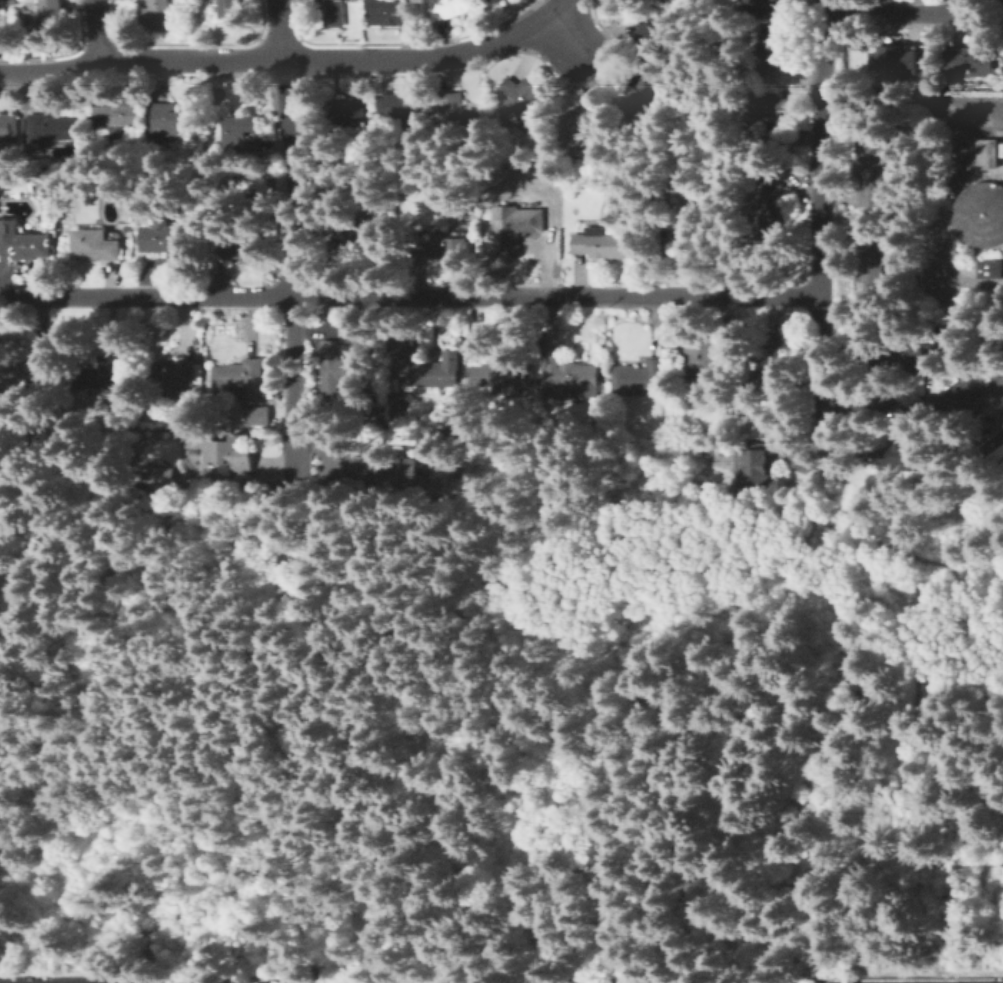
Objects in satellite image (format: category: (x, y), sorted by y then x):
building: (655, 0)
building: (660, 0)
building: (493, 1)
building: (12, 2)
building: (757, 8)
building: (232, 9)
building: (446, 9)
building: (331, 13)
building: (390, 13)
building: (155, 15)
road: (905, 15)
building: (52, 16)
road: (99, 29)
road: (283, 29)
road: (564, 33)
building: (649, 40)
building: (773, 55)
road: (433, 56)
road: (142, 58)
building: (894, 60)
building: (967, 64)
building: (641, 98)
building: (522, 101)
building: (400, 106)
building: (345, 111)
road: (289, 114)
building: (457, 116)
building: (118, 117)
building: (90, 120)
building: (177, 120)
road: (970, 120)
building: (773, 122)
building: (584, 127)
building: (9, 128)
building: (53, 128)
building: (485, 128)
building: (241, 136)
building: (977, 153)
storage tank: (977, 153)
building: (873, 171)
building: (776, 206)
building: (980, 213)
building: (514, 228)
building: (695, 228)
road: (822, 234)
building: (364, 238)
building: (167, 240)
building: (23, 242)
building: (602, 243)
building: (95, 246)
building: (437, 246)
building: (242, 249)
building: (872, 268)
building: (991, 269)
road: (410, 294)
road: (297, 331)
building: (998, 339)
building: (779, 344)
building: (476, 347)
building: (706, 353)
building: (920, 355)
building: (347, 363)
building: (425, 370)
building: (101, 375)
building: (174, 376)
building: (30, 377)
building: (502, 377)
building: (568, 377)
building: (641, 377)
building: (243, 379)
building: (770, 386)
building: (671, 390)
building: (187, 391)
road: (891, 398)
building: (825, 402)
building: (399, 410)
building: (260, 417)
building: (376, 417)
building: (715, 449)
building: (228, 451)
building: (993, 452)
building: (908, 457)
building: (753, 468)
building: (391, 469)
building: (166, 479)
building: (543, 489)
road: (814, 517)
road: (605, 574)
road: (980, 591)
road: (395, 666)
road: (652, 669)
road: (320, 671)
road: (830, 707)
road: (733, 715)
road: (679, 719)
road: (922, 790)
road: (731, 811)
road: (64, 826)
road: (653, 886)
road: (499, 945)
road: (156, 956)
building: (551, 981)
building: (543, 982)
building: (626, 982)
building: (701, 982)

